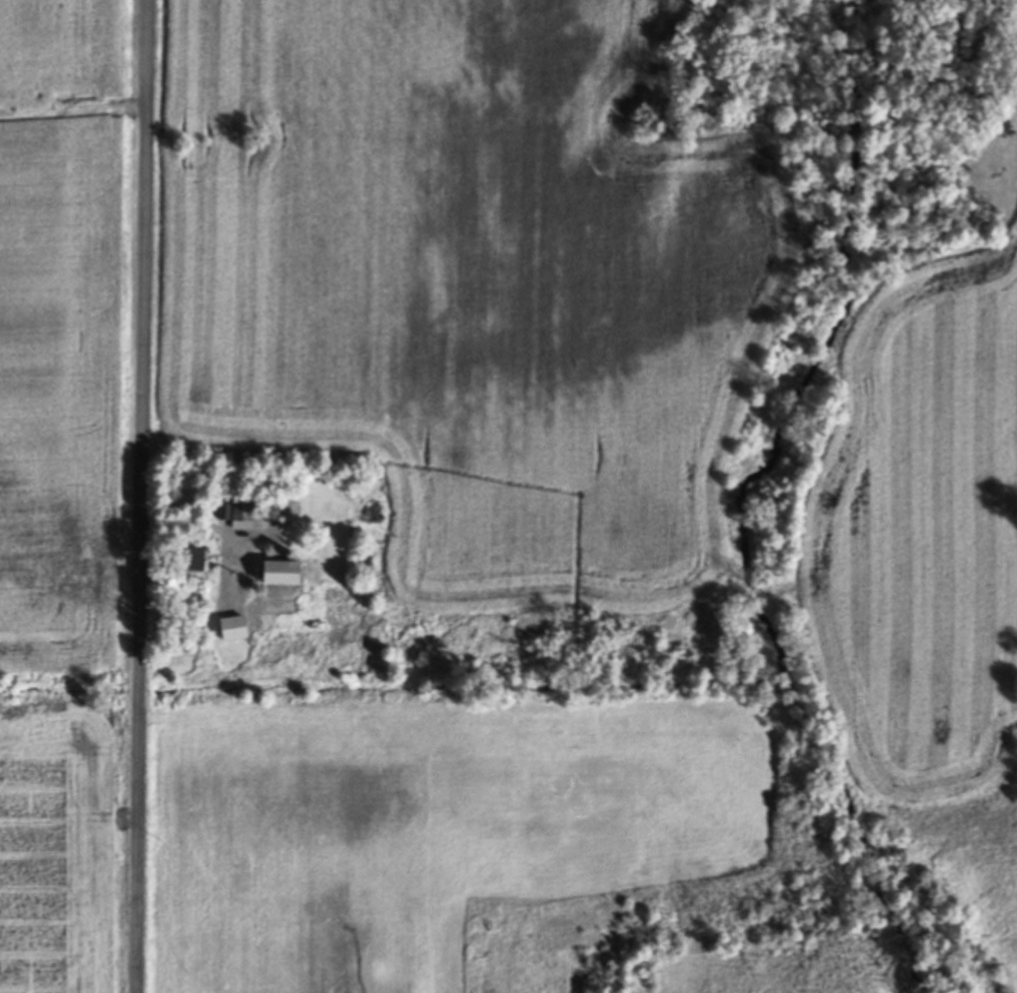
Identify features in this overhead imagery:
road: (73, 112)
road: (143, 496)
building: (242, 514)
building: (189, 563)
building: (280, 577)
building: (234, 631)

